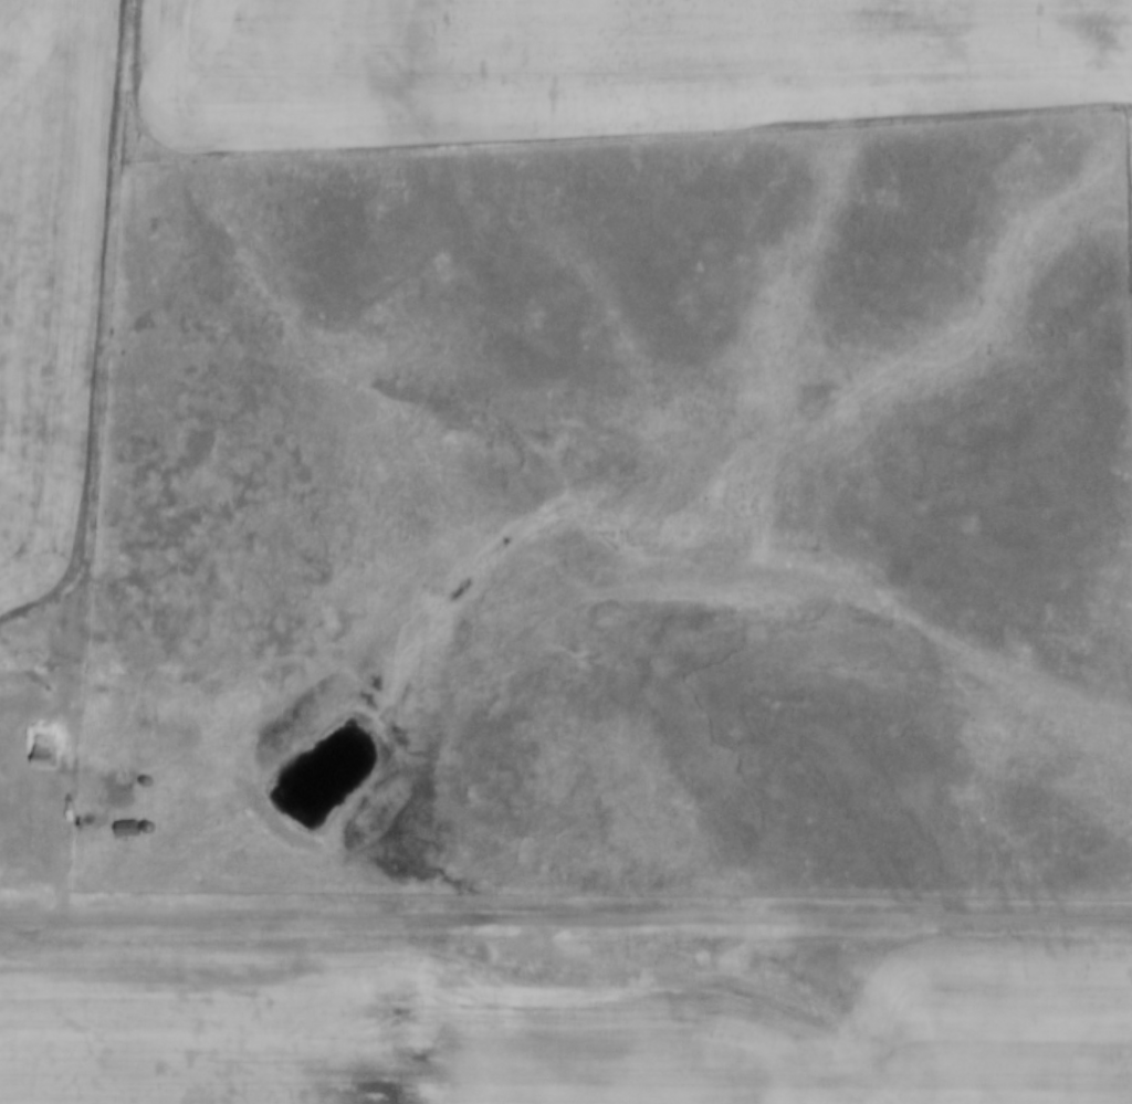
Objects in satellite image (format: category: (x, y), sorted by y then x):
building: (46, 753)
building: (128, 826)
road: (65, 849)
road: (566, 919)

